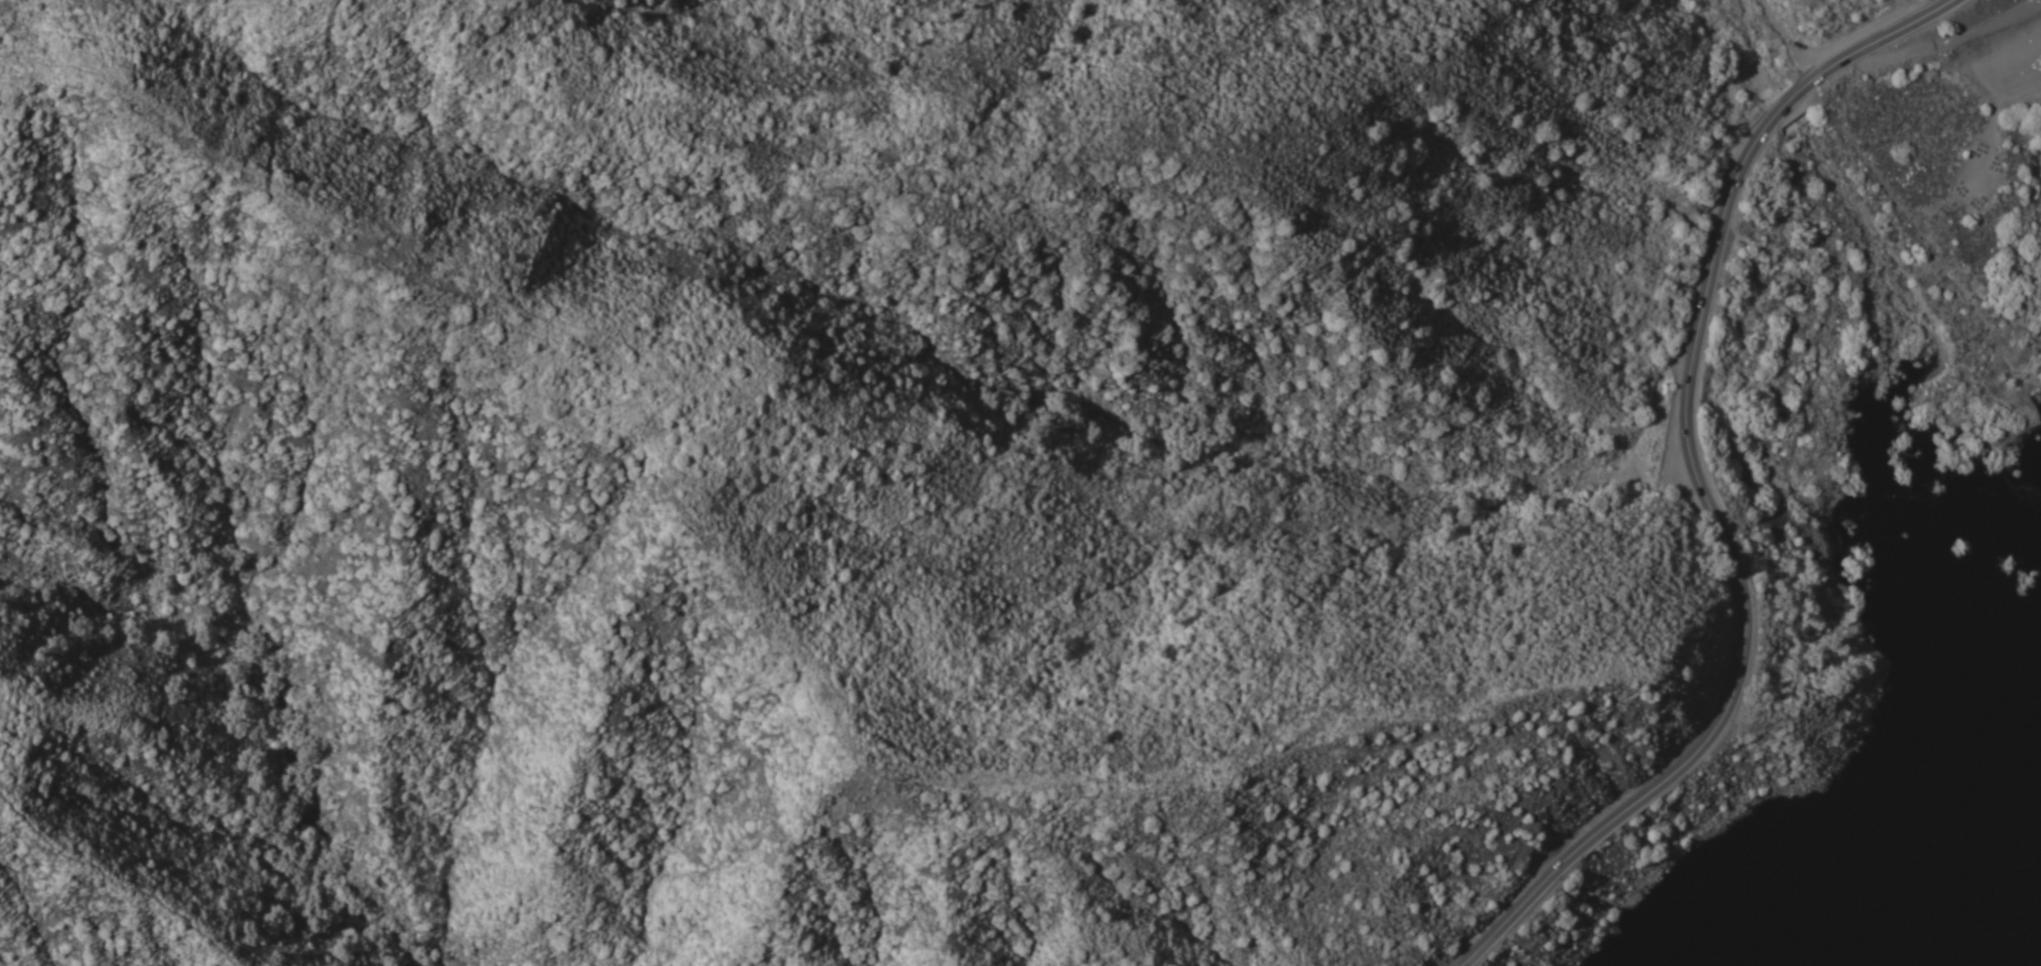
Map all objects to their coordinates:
road: (1702, 487)

